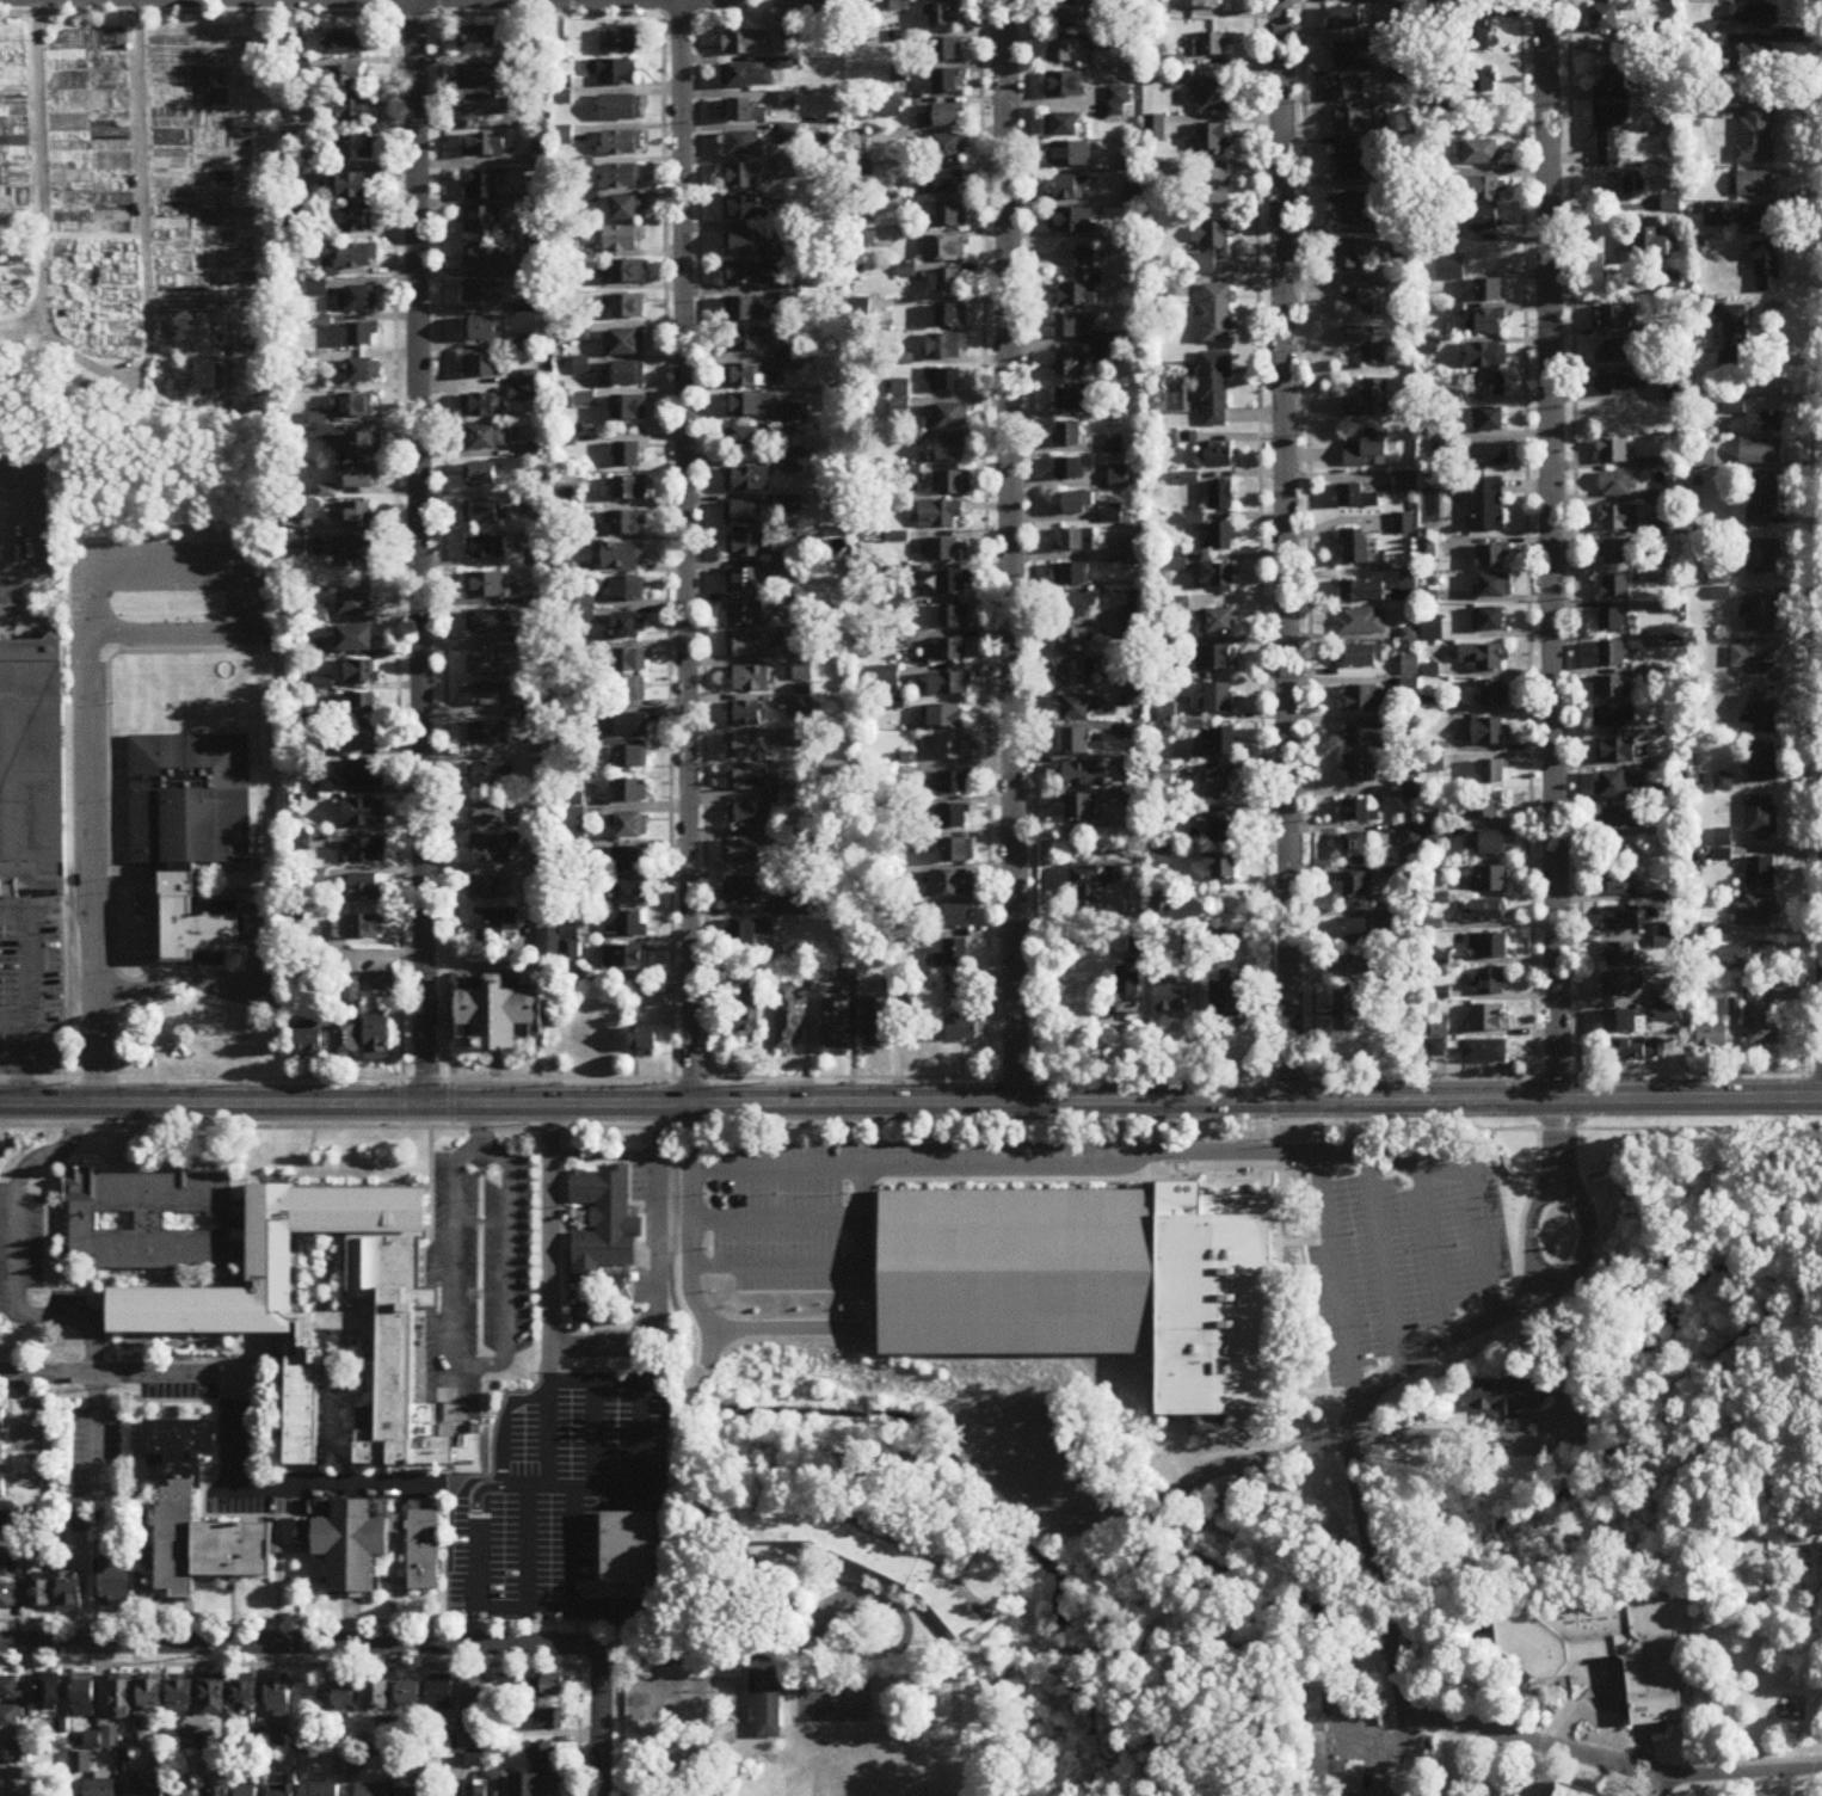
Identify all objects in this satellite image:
building: (1207, 5)
road: (571, 8)
building: (817, 8)
road: (195, 14)
building: (942, 16)
building: (1754, 16)
road: (599, 17)
building: (1606, 17)
road: (413, 18)
building: (1346, 18)
building: (1071, 19)
building: (484, 39)
building: (1477, 39)
building: (624, 43)
building: (746, 43)
building: (353, 44)
building: (1208, 45)
building: (1711, 47)
building: (948, 49)
building: (1065, 53)
building: (1753, 55)
building: (1350, 56)
building: (613, 73)
building: (1619, 73)
building: (479, 75)
building: (747, 75)
building: (346, 78)
building: (1481, 78)
building: (946, 81)
building: (1064, 85)
building: (1350, 90)
building: (1211, 97)
building: (487, 106)
building: (352, 110)
building: (621, 110)
building: (743, 112)
building: (943, 116)
building: (1355, 124)
building: (1063, 125)
building: (1153, 129)
building: (1609, 133)
building: (1758, 136)
building: (1212, 141)
building: (621, 144)
building: (749, 144)
building: (482, 147)
building: (357, 148)
building: (950, 149)
building: (1482, 153)
building: (1067, 154)
building: (1350, 166)
building: (1156, 170)
building: (621, 178)
building: (743, 178)
building: (942, 183)
building: (1756, 184)
building: (1624, 185)
building: (481, 186)
building: (353, 187)
building: (1214, 187)
building: (1071, 189)
building: (1483, 191)
building: (1670, 205)
building: (627, 210)
building: (741, 210)
building: (1353, 211)
building: (1734, 215)
building: (949, 216)
building: (1070, 221)
building: (480, 222)
building: (356, 223)
building: (1484, 224)
building: (624, 240)
building: (740, 245)
building: (1208, 246)
building: (1654, 246)
building: (943, 250)
building: (355, 258)
building: (485, 258)
building: (1350, 258)
building: (1767, 267)
building: (629, 273)
building: (743, 275)
building: (1083, 281)
building: (944, 282)
building: (1490, 291)
building: (480, 294)
building: (1367, 295)
building: (358, 299)
building: (624, 308)
building: (747, 312)
building: (1218, 314)
building: (952, 316)
building: (1612, 319)
building: (1490, 322)
building: (1071, 327)
building: (481, 331)
building: (362, 337)
building: (745, 342)
building: (628, 344)
building: (1366, 345)
building: (947, 347)
building: (1612, 352)
building: (1486, 357)
road: (110, 359)
building: (1069, 365)
building: (480, 368)
building: (363, 371)
building: (628, 376)
building: (745, 377)
building: (944, 381)
building: (1621, 383)
building: (1760, 383)
building: (1491, 386)
building: (1214, 390)
building: (1070, 399)
building: (1718, 399)
building: (1367, 401)
building: (358, 406)
building: (747, 406)
building: (480, 407)
building: (627, 410)
building: (947, 418)
building: (1490, 420)
building: (1766, 423)
building: (1070, 435)
building: (485, 439)
building: (744, 441)
building: (1113, 444)
building: (364, 445)
building: (1368, 450)
building: (952, 451)
building: (1761, 451)
building: (1611, 454)
building: (628, 456)
building: (1219, 456)
building: (1488, 457)
building: (1706, 460)
building: (1071, 469)
building: (485, 475)
building: (1118, 476)
building: (363, 478)
building: (749, 481)
building: (954, 485)
building: (1618, 486)
building: (630, 490)
building: (327, 493)
building: (1220, 496)
building: (1356, 498)
building: (1762, 500)
building: (1079, 504)
building: (1485, 505)
building: (482, 513)
building: (743, 515)
building: (359, 516)
building: (940, 516)
building: (1618, 519)
road: (19, 524)
building: (628, 524)
building: (1224, 537)
road: (1306, 537)
road: (666, 539)
road: (984, 539)
road: (1032, 539)
building: (1077, 541)
building: (745, 547)
building: (296, 548)
building: (490, 548)
road: (702, 548)
building: (1356, 548)
building: (356, 549)
building: (943, 551)
road: (1285, 551)
road: (1550, 551)
road: (684, 552)
road: (1011, 552)
building: (1129, 552)
road: (419, 553)
building: (1618, 553)
building: (623, 556)
building: (1494, 558)
building: (1763, 558)
road: (395, 565)
road: (444, 565)
road: (240, 570)
building: (1076, 576)
building: (1219, 576)
road: (1258, 576)
building: (1717, 576)
building: (744, 582)
building: (953, 584)
building: (486, 586)
building: (1491, 586)
building: (1613, 586)
building: (628, 591)
building: (1364, 591)
parking lot: (166, 596)
building: (355, 605)
building: (1077, 607)
building: (743, 615)
building: (1761, 615)
building: (948, 617)
building: (1489, 620)
building: (487, 622)
building: (1218, 622)
building: (1362, 622)
building: (1614, 622)
building: (628, 627)
building: (1433, 629)
building: (356, 640)
building: (1077, 642)
building: (750, 645)
building: (946, 651)
building: (1614, 656)
building: (1756, 656)
building: (1361, 657)
building: (1482, 658)
building: (1214, 659)
building: (628, 662)
building: (484, 664)
building: (362, 672)
building: (804, 672)
building: (1076, 675)
building: (752, 681)
building: (947, 684)
building: (1613, 688)
building: (630, 691)
building: (491, 695)
building: (1495, 695)
building: (1220, 699)
building: (1366, 699)
building: (365, 706)
building: (1081, 708)
building: (801, 709)
building: (1765, 712)
building: (1168, 713)
building: (745, 714)
building: (944, 718)
building: (1613, 718)
building: (632, 727)
building: (1490, 732)
building: (488, 733)
building: (1366, 737)
building: (362, 739)
building: (798, 739)
building: (1225, 740)
building: (1073, 743)
building: (745, 746)
building: (953, 748)
building: (1186, 750)
building: (1618, 752)
building: (630, 758)
building: (1762, 763)
building: (32, 769)
building: (1361, 769)
building: (1131, 771)
building: (1494, 773)
building: (364, 776)
building: (490, 776)
building: (1078, 776)
building: (751, 779)
building: (955, 785)
building: (1220, 785)
building: (1617, 785)
building: (630, 793)
building: (1489, 806)
building: (1081, 811)
building: (1361, 812)
building: (493, 813)
building: (364, 814)
building: (751, 816)
building: (955, 818)
building: (1626, 818)
building: (1761, 818)
building: (632, 828)
building: (190, 831)
building: (1224, 832)
building: (1410, 838)
building: (1495, 844)
building: (1355, 849)
building: (497, 850)
building: (367, 851)
building: (959, 851)
building: (741, 853)
building: (632, 861)
road: (94, 869)
building: (1225, 871)
building: (1760, 874)
building: (1096, 879)
building: (1490, 881)
building: (950, 884)
building: (1620, 885)
building: (363, 890)
building: (486, 890)
building: (1359, 891)
building: (744, 893)
building: (630, 894)
road: (271, 900)
building: (1484, 912)
building: (1756, 912)
building: (949, 919)
building: (1621, 919)
building: (632, 925)
building: (495, 927)
building: (358, 929)
building: (1359, 931)
building: (744, 936)
road: (1073, 936)
parking lot: (263, 947)
building: (1489, 947)
building: (1620, 955)
building: (1747, 955)
building: (954, 957)
building: (632, 959)
building: (1360, 966)
road: (29, 983)
road: (174, 983)
building: (377, 983)
building: (1491, 983)
parking lot: (31, 985)
building: (954, 985)
building: (1624, 986)
building: (638, 991)
building: (1129, 996)
building: (1230, 997)
building: (1172, 1000)
building: (1667, 1005)
building: (1347, 1011)
building: (751, 1015)
building: (788, 1016)
building: (503, 1019)
building: (1488, 1019)
building: (1761, 1019)
building: (880, 1022)
building: (1626, 1023)
building: (837, 1025)
building: (966, 1029)
building: (1713, 1038)
building: (312, 1039)
building: (380, 1040)
building: (347, 1041)
building: (646, 1042)
building: (1636, 1051)
building: (1484, 1052)
road: (20, 1076)
road: (657, 1081)
road: (911, 1105)
road: (911, 1126)
road: (1558, 1140)
road: (479, 1143)
road: (492, 1156)
road: (1082, 1167)
parking lot: (798, 1208)
road: (775, 1217)
building: (146, 1218)
road: (547, 1223)
building: (604, 1225)
road: (1527, 1231)
road: (1587, 1232)
road: (1481, 1243)
road: (16, 1254)
road: (1432, 1254)
building: (271, 1256)
road: (1384, 1261)
road: (821, 1265)
road: (1335, 1278)
building: (1071, 1286)
road: (691, 1292)
road: (652, 1304)
building: (388, 1343)
road: (710, 1346)
road: (547, 1359)
road: (476, 1364)
road: (121, 1374)
building: (1512, 1397)
building: (301, 1404)
road: (504, 1417)
building: (2, 1422)
road: (93, 1423)
parking lot: (1576, 1427)
road: (596, 1431)
road: (1446, 1435)
road: (546, 1439)
road: (1334, 1447)
building: (2, 1456)
road: (271, 1486)
road: (536, 1486)
road: (634, 1486)
building: (2, 1488)
road: (1157, 1503)
building: (177, 1517)
building: (6, 1529)
road: (473, 1533)
building: (352, 1540)
road: (524, 1546)
building: (424, 1552)
building: (861, 1555)
building: (624, 1561)
building: (8, 1563)
building: (116, 1577)
building: (41, 1597)
building: (69, 1597)
building: (7, 1598)
road: (510, 1606)
road: (390, 1620)
road: (470, 1624)
road: (548, 1624)
road: (296, 1642)
road: (1196, 1646)
building: (1608, 1646)
road: (841, 1655)
road: (300, 1663)
building: (509, 1686)
building: (554, 1686)
building: (10, 1689)
building: (152, 1693)
building: (49, 1694)
building: (181, 1694)
building: (410, 1694)
building: (245, 1696)
building: (345, 1696)
building: (377, 1696)
building: (442, 1696)
building: (214, 1697)
building: (474, 1697)
building: (121, 1698)
building: (279, 1698)
building: (84, 1699)
park: (833, 1699)
building: (765, 1705)
road: (577, 1709)
building: (10, 1717)
building: (552, 1720)
road: (599, 1722)
road: (1440, 1724)
park: (950, 1733)
building: (1322, 1741)
road: (744, 1745)
building: (26, 1752)
road: (1393, 1753)
building: (542, 1754)
road: (1615, 1764)
park: (863, 1772)
road: (1635, 1779)
road: (1804, 1780)
building: (25, 1785)
building: (535, 1785)
road: (1658, 1786)
building: (99, 1788)
building: (147, 1788)
building: (476, 1788)
building: (319, 1789)
building: (1582, 1789)
building: (279, 1790)
building: (371, 1790)
building: (217, 1791)
building: (246, 1791)
building: (185, 1792)
building: (410, 1792)

